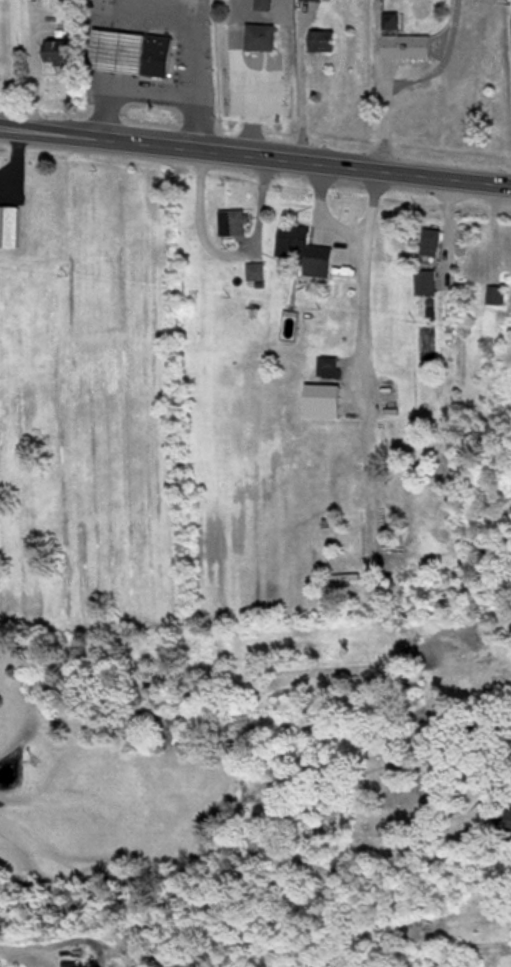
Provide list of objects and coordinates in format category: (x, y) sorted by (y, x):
building: (262, 4)
road: (190, 26)
building: (259, 36)
building: (320, 39)
building: (405, 45)
building: (117, 48)
building: (57, 50)
building: (157, 53)
road: (149, 92)
road: (255, 153)
building: (232, 221)
building: (9, 226)
building: (430, 241)
building: (303, 249)
building: (424, 281)
building: (495, 294)
building: (331, 365)
building: (321, 399)
building: (507, 817)

